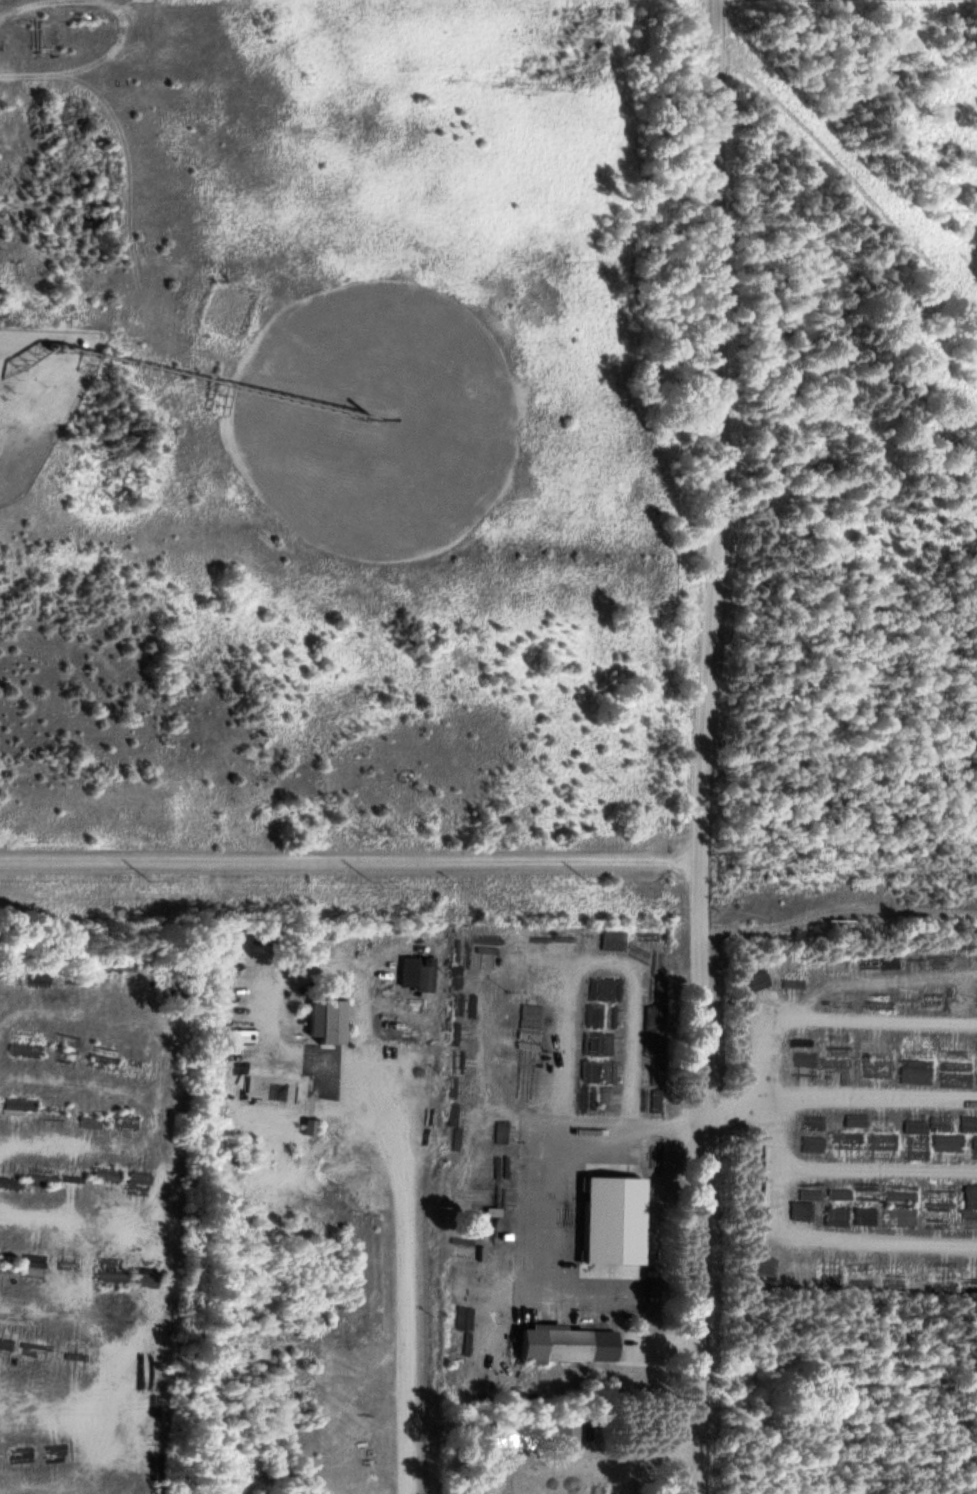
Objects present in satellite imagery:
road: (711, 430)
road: (348, 862)
building: (416, 974)
building: (324, 1022)
building: (529, 1025)
building: (600, 1046)
building: (268, 1091)
building: (816, 1121)
road: (698, 1177)
building: (610, 1222)
building: (111, 1278)
road: (416, 1310)
building: (562, 1345)
building: (561, 1433)
building: (510, 1436)
building: (59, 1447)
building: (20, 1457)
building: (490, 1480)
building: (614, 1488)

